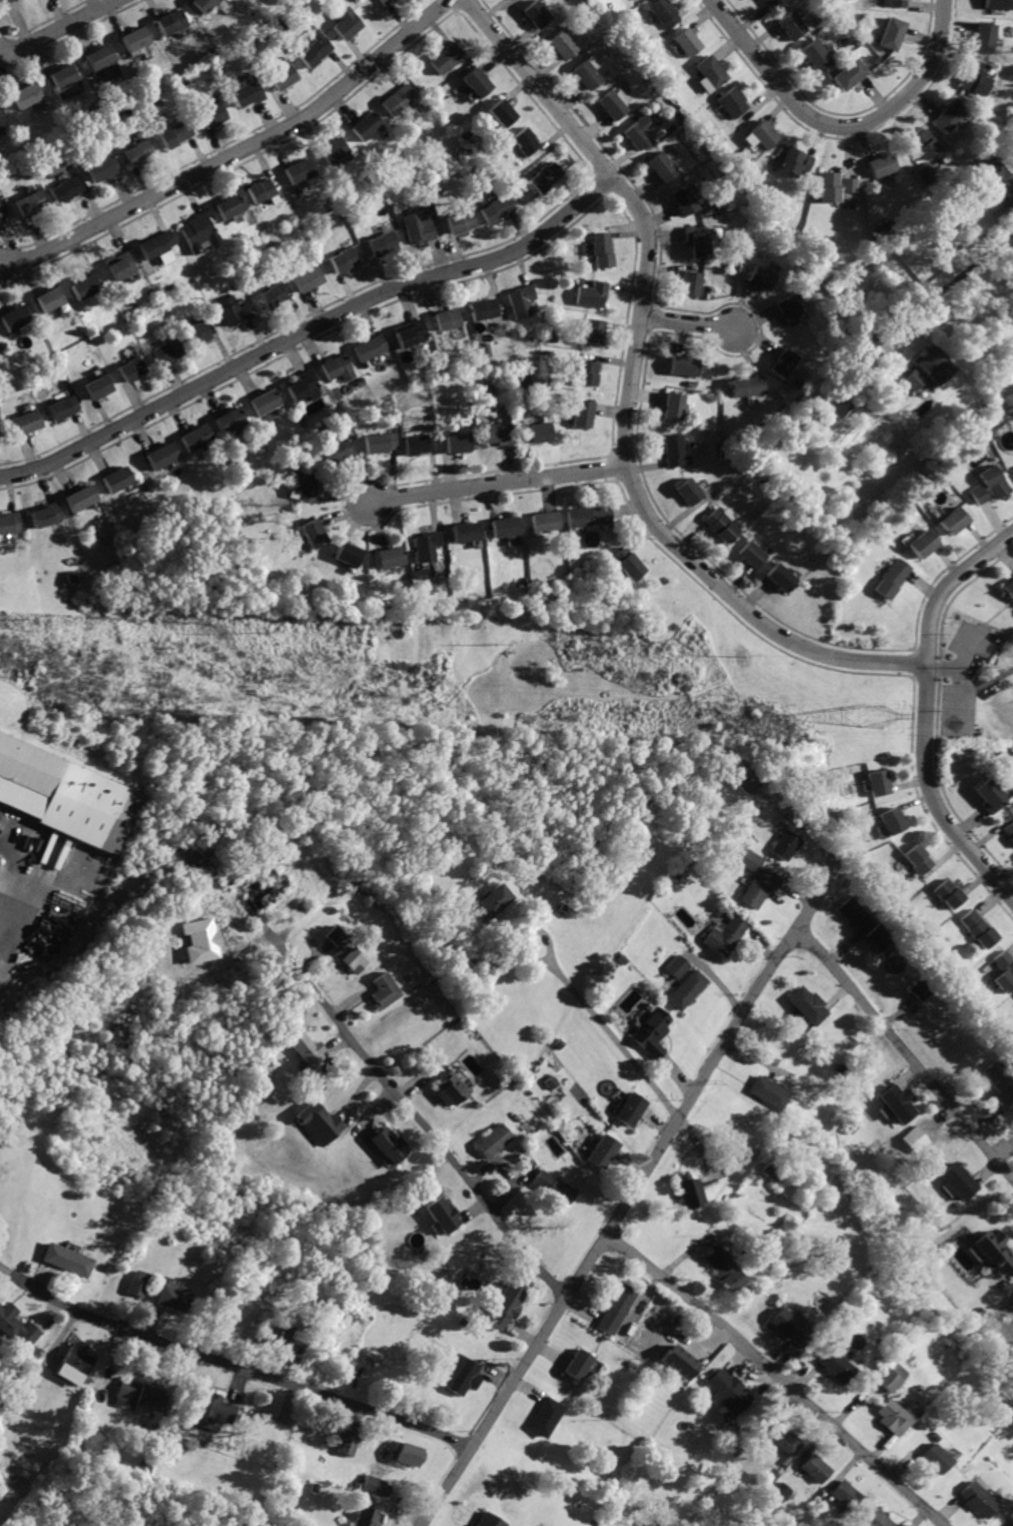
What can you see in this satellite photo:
building: (45, 0)
building: (5, 1)
building: (384, 2)
building: (764, 2)
building: (894, 4)
building: (1000, 4)
building: (204, 5)
building: (663, 13)
building: (536, 14)
building: (172, 22)
building: (344, 23)
building: (791, 25)
road: (61, 29)
building: (891, 34)
building: (985, 36)
building: (138, 39)
building: (688, 41)
building: (562, 45)
building: (315, 46)
road: (0, 49)
road: (0, 55)
building: (814, 56)
building: (102, 57)
building: (447, 57)
building: (711, 71)
building: (848, 74)
building: (587, 75)
building: (282, 76)
building: (65, 77)
building: (978, 79)
building: (477, 83)
building: (246, 93)
building: (28, 95)
building: (397, 101)
building: (731, 102)
building: (613, 106)
building: (503, 113)
building: (951, 114)
building: (212, 115)
building: (1, 117)
building: (366, 126)
road: (837, 127)
building: (639, 133)
building: (762, 133)
building: (174, 134)
building: (524, 142)
building: (924, 143)
building: (334, 150)
building: (138, 152)
road: (236, 154)
building: (794, 161)
building: (882, 164)
building: (104, 166)
building: (662, 167)
building: (300, 170)
building: (926, 173)
building: (544, 176)
building: (998, 184)
building: (834, 186)
building: (66, 189)
building: (261, 190)
building: (685, 201)
building: (0, 204)
building: (30, 205)
building: (230, 207)
building: (500, 210)
building: (461, 221)
building: (420, 227)
building: (200, 232)
building: (696, 241)
building: (384, 243)
building: (155, 245)
building: (603, 249)
building: (345, 260)
building: (121, 267)
building: (823, 273)
building: (763, 277)
building: (310, 278)
building: (691, 283)
building: (87, 284)
building: (592, 294)
building: (276, 296)
building: (51, 299)
road: (928, 299)
building: (522, 301)
building: (483, 309)
building: (235, 310)
building: (791, 310)
building: (16, 318)
building: (450, 320)
road: (688, 323)
road: (309, 331)
building: (594, 332)
building: (202, 334)
building: (413, 335)
building: (371, 348)
building: (486, 349)
building: (170, 350)
building: (783, 363)
building: (683, 365)
building: (936, 365)
building: (135, 368)
building: (340, 369)
building: (588, 373)
building: (914, 380)
building: (100, 386)
building: (745, 386)
building: (304, 387)
road: (630, 393)
building: (267, 403)
building: (672, 406)
building: (67, 407)
building: (839, 408)
building: (583, 413)
building: (232, 420)
building: (28, 422)
building: (535, 432)
building: (497, 433)
building: (198, 438)
building: (379, 442)
building: (457, 442)
building: (414, 443)
building: (673, 450)
building: (333, 451)
building: (164, 456)
building: (118, 479)
road: (500, 483)
building: (991, 485)
building: (301, 486)
building: (691, 491)
building: (82, 497)
building: (46, 514)
building: (590, 516)
building: (545, 520)
building: (955, 521)
building: (9, 522)
building: (725, 525)
building: (505, 526)
building: (467, 531)
building: (313, 533)
building: (924, 543)
building: (428, 545)
building: (348, 553)
building: (757, 555)
building: (389, 557)
building: (630, 563)
building: (784, 577)
building: (894, 579)
building: (1008, 588)
road: (946, 666)
road: (961, 675)
parking lot: (965, 678)
park: (970, 680)
road: (988, 687)
road: (929, 713)
power tower: (874, 718)
building: (749, 780)
building: (879, 781)
building: (67, 794)
building: (989, 796)
building: (892, 820)
building: (1009, 830)
building: (788, 844)
building: (748, 859)
building: (920, 859)
building: (760, 885)
building: (948, 892)
road: (820, 896)
building: (497, 898)
building: (856, 911)
building: (980, 929)
road: (527, 931)
building: (334, 934)
road: (22, 935)
building: (726, 936)
building: (877, 936)
building: (202, 939)
building: (350, 957)
road: (832, 961)
building: (678, 965)
building: (1006, 969)
building: (689, 988)
building: (921, 988)
building: (384, 990)
building: (811, 1003)
building: (653, 1033)
road: (617, 1038)
building: (308, 1048)
building: (1002, 1082)
road: (936, 1087)
building: (451, 1090)
building: (769, 1090)
building: (901, 1102)
building: (629, 1108)
road: (416, 1115)
building: (320, 1121)
building: (495, 1139)
building: (917, 1139)
building: (391, 1144)
building: (602, 1150)
building: (961, 1180)
building: (554, 1186)
building: (688, 1190)
building: (444, 1213)
road: (610, 1229)
building: (996, 1249)
building: (67, 1259)
building: (724, 1266)
building: (138, 1282)
building: (173, 1297)
building: (507, 1305)
building: (617, 1307)
building: (790, 1326)
building: (17, 1327)
building: (289, 1339)
building: (679, 1361)
building: (76, 1363)
building: (579, 1363)
building: (833, 1364)
road: (232, 1366)
building: (459, 1373)
building: (889, 1374)
road: (779, 1375)
building: (729, 1391)
building: (143, 1393)
building: (546, 1416)
building: (892, 1417)
building: (787, 1439)
building: (348, 1442)
building: (408, 1453)
building: (935, 1456)
building: (817, 1467)
building: (377, 1485)
building: (781, 1490)
building: (846, 1493)
building: (977, 1500)
building: (366, 1516)
building: (876, 1517)
building: (490, 1519)
building: (1012, 1525)

